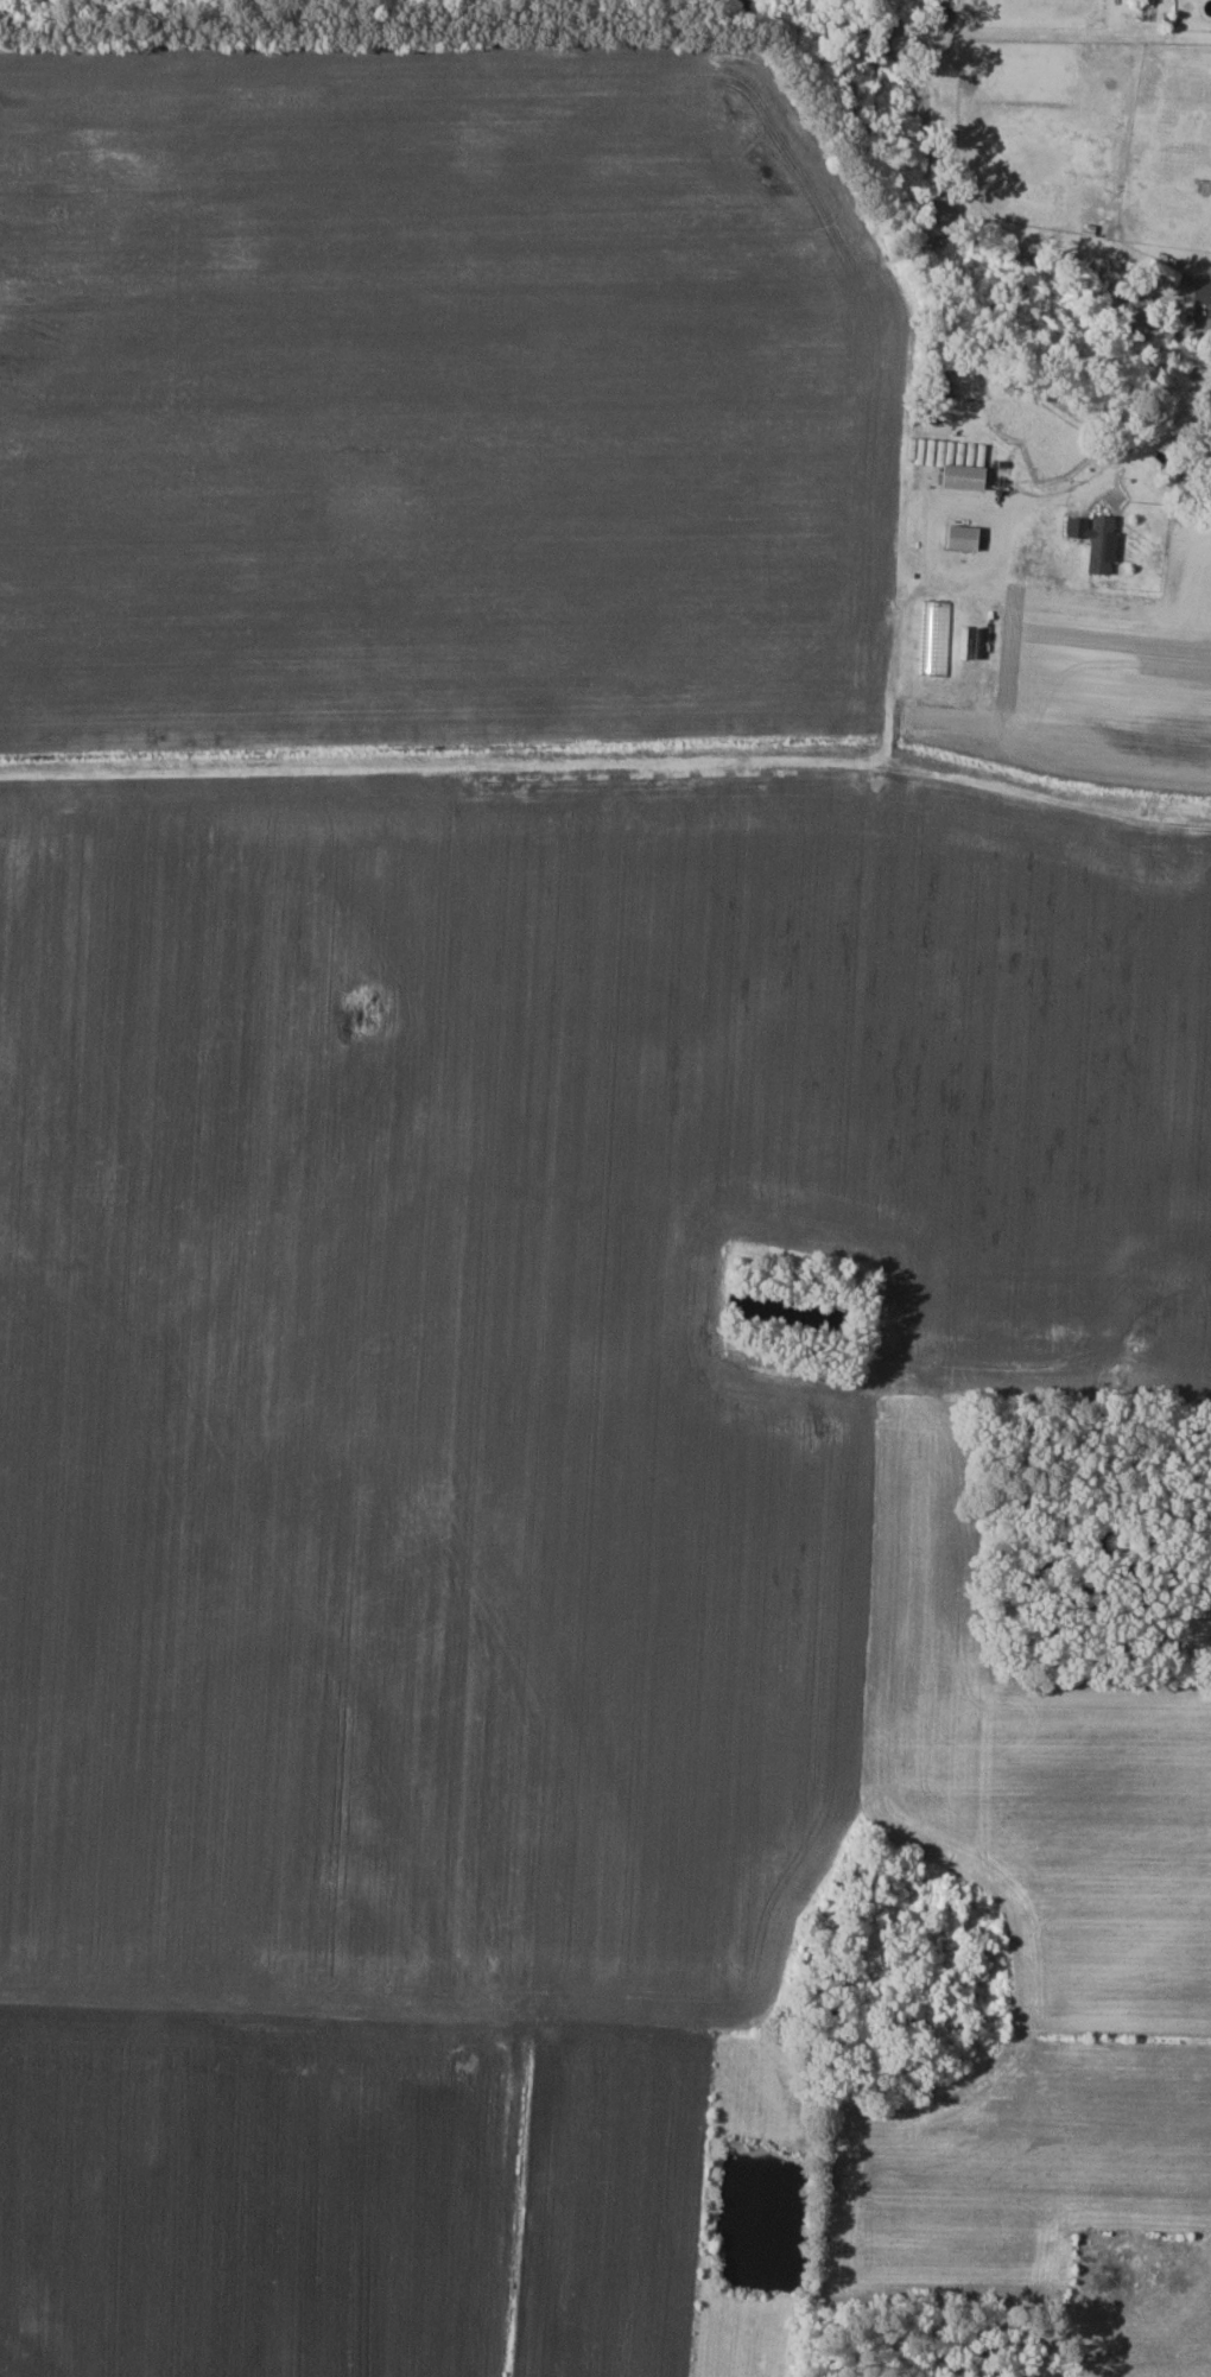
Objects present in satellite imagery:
building: (1203, 289)
building: (953, 459)
road: (1102, 467)
building: (964, 537)
building: (1098, 538)

